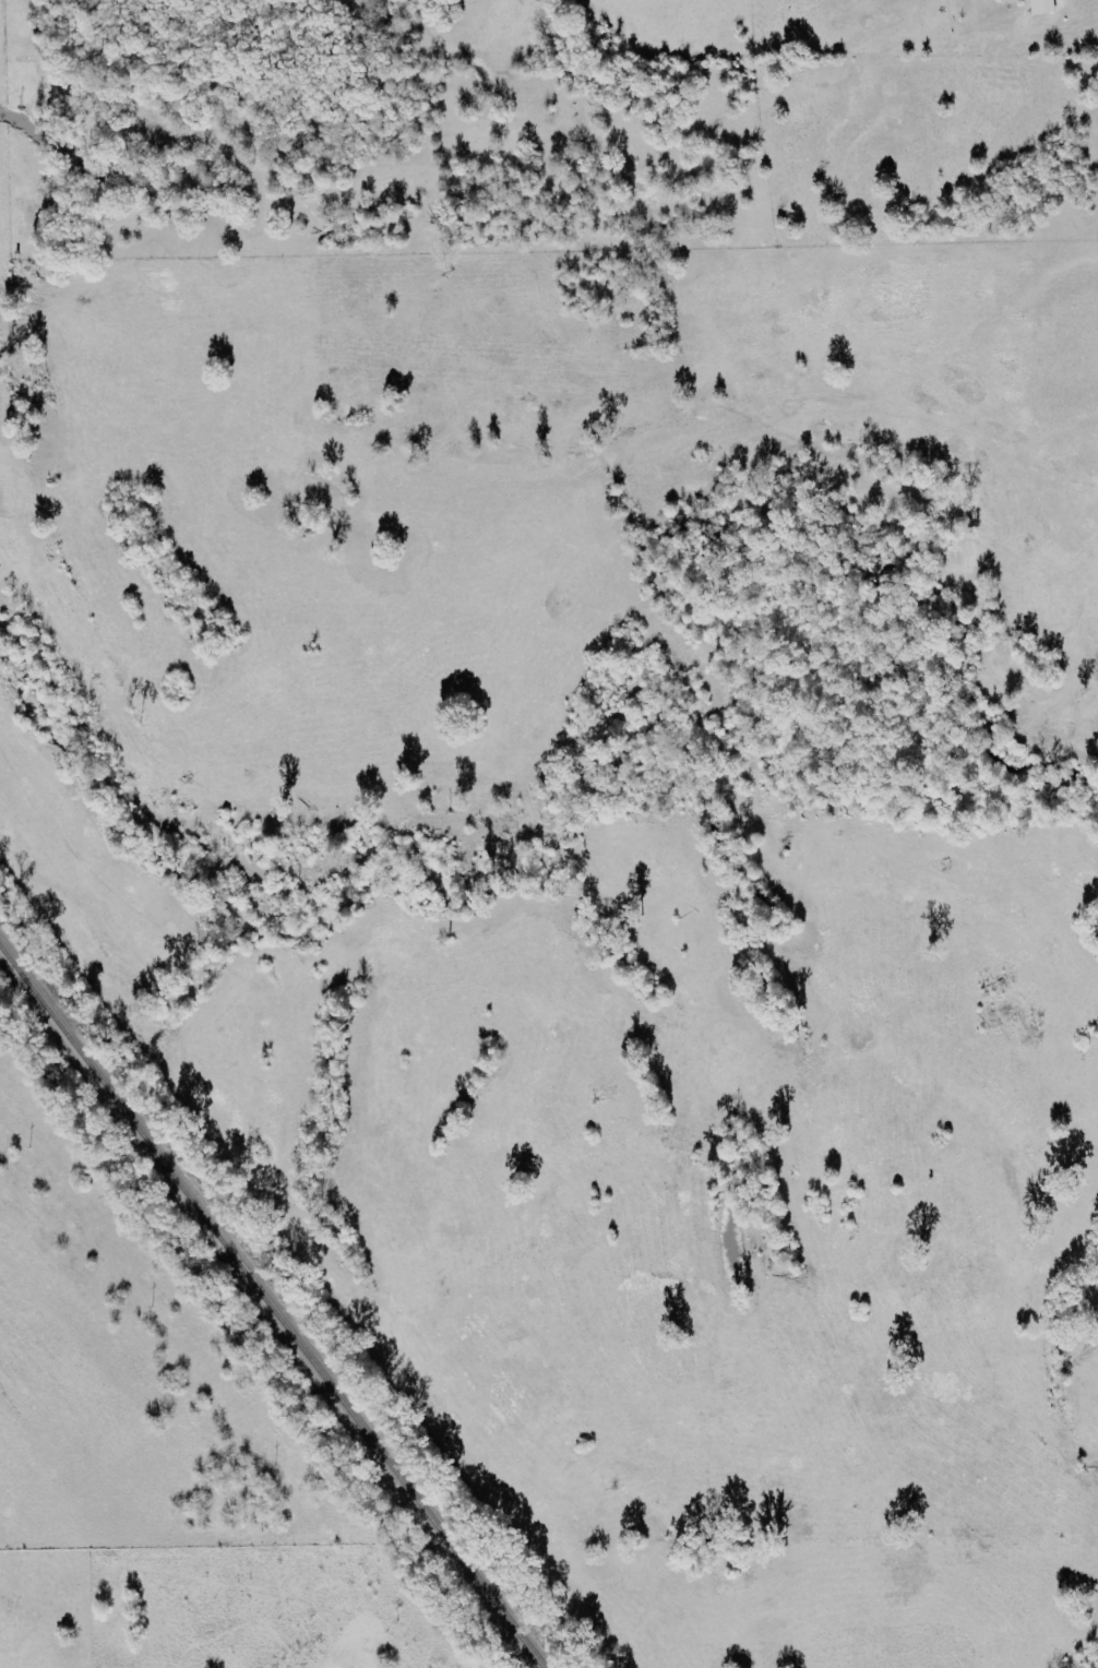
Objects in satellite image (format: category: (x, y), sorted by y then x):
building: (1042, 7)
railway: (270, 1310)

